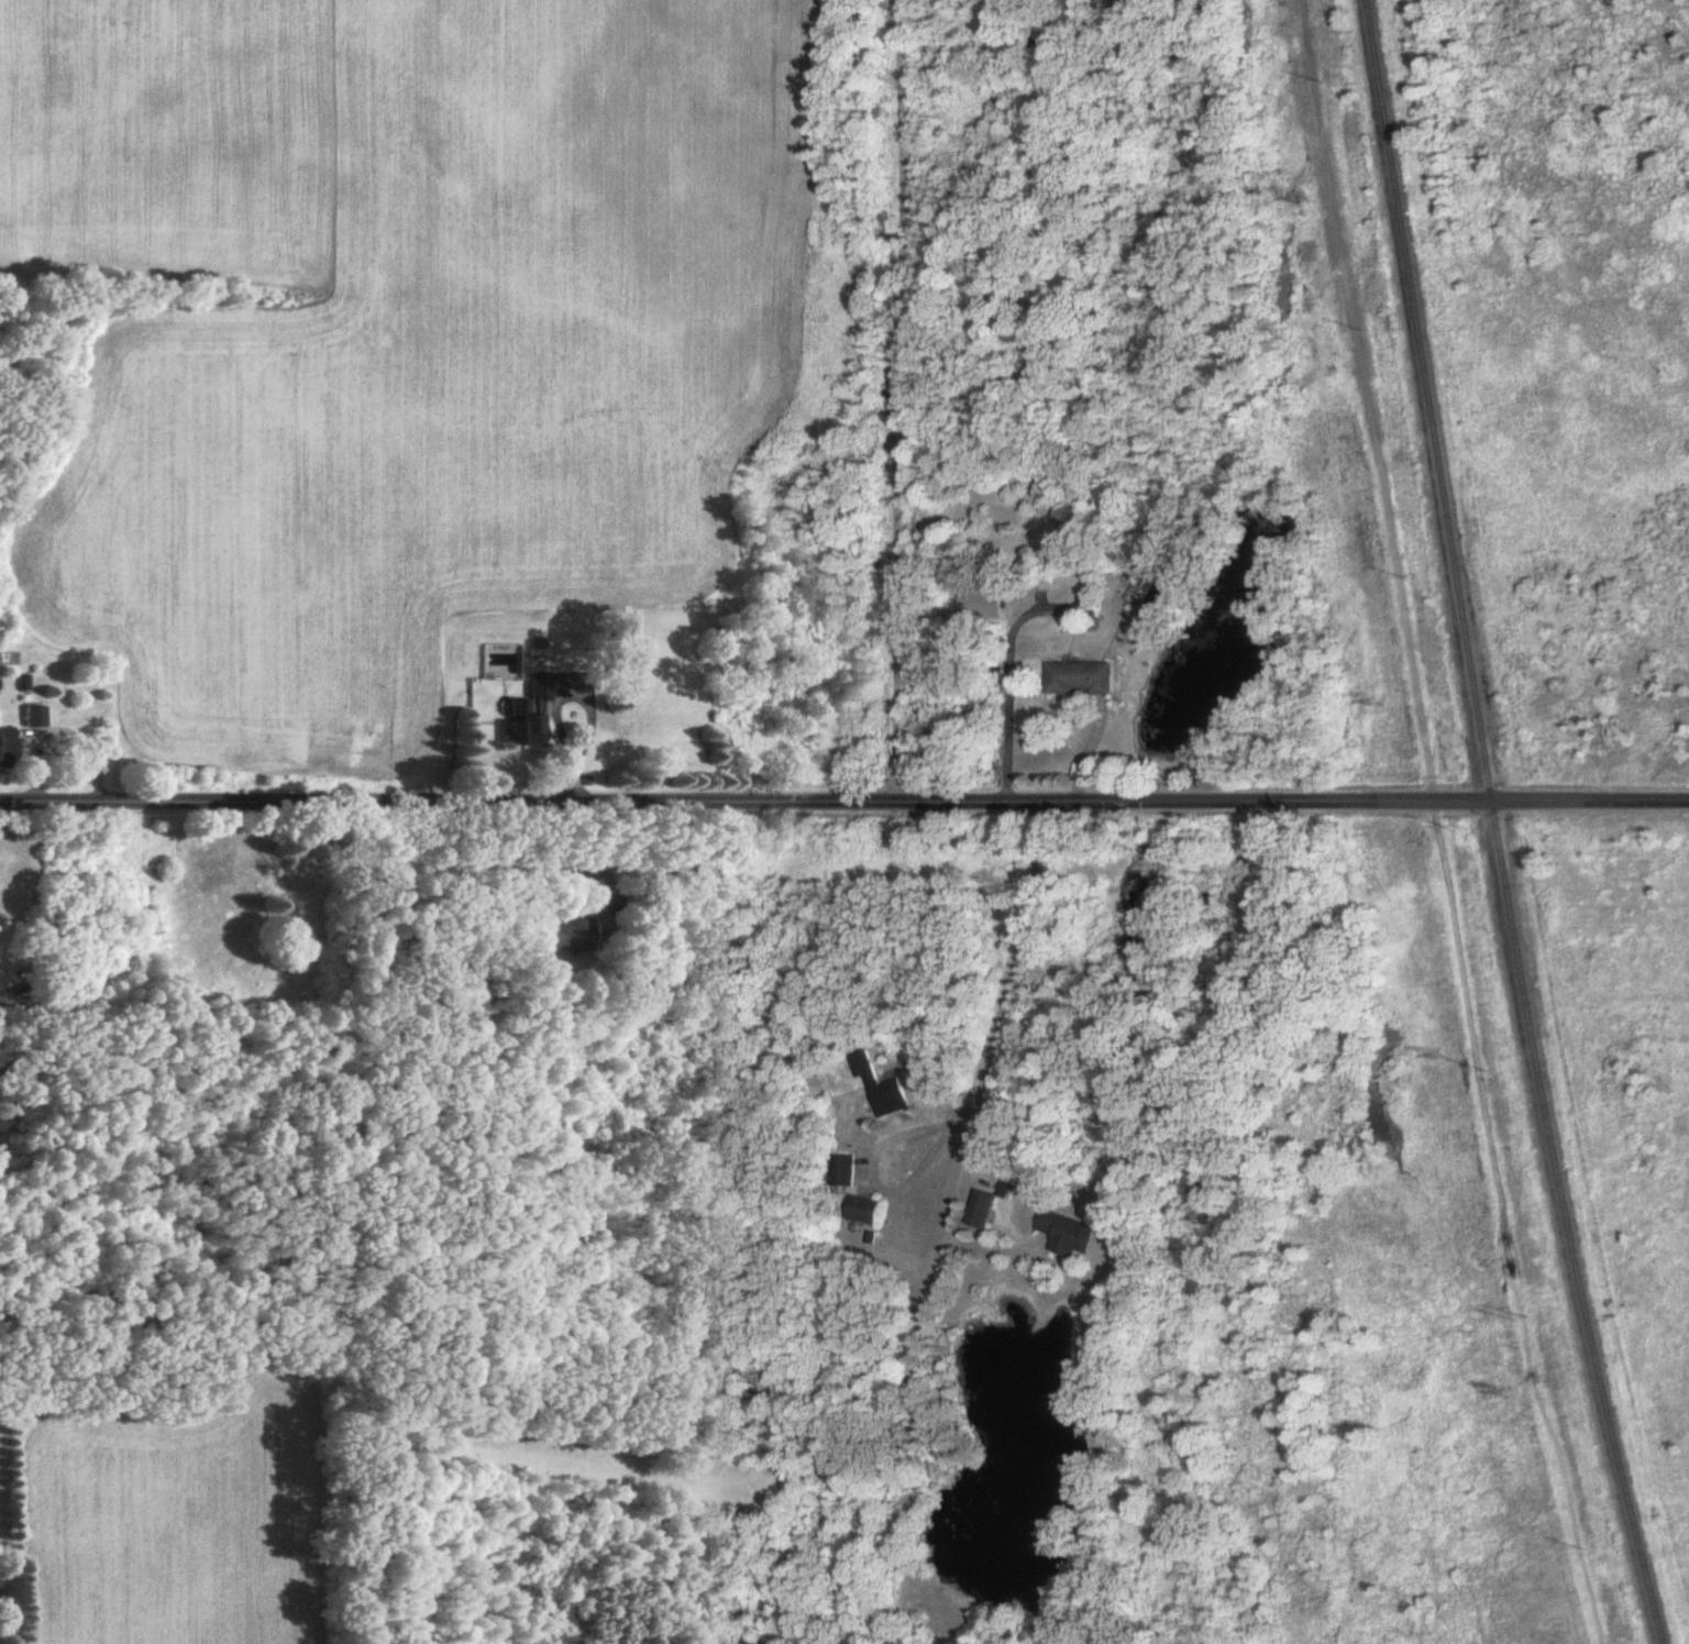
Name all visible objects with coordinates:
power tower: (1311, 201)
road: (896, 399)
building: (1051, 517)
building: (1142, 588)
building: (1090, 610)
building: (1083, 678)
road: (585, 693)
power tower: (1381, 703)
building: (35, 717)
road: (54, 717)
building: (532, 717)
building: (8, 749)
road: (844, 799)
railway: (1497, 825)
building: (306, 886)
building: (571, 936)
power tower: (1448, 1055)
building: (883, 1091)
road: (873, 1171)
building: (843, 1172)
building: (984, 1211)
building: (865, 1212)
road: (949, 1220)
building: (1069, 1235)
power tower: (1512, 1398)

